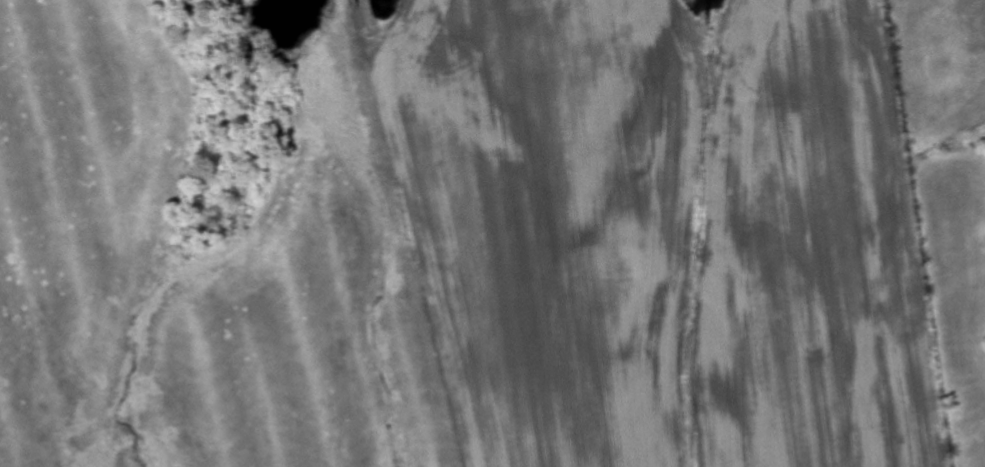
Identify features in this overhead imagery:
road: (829, 181)

